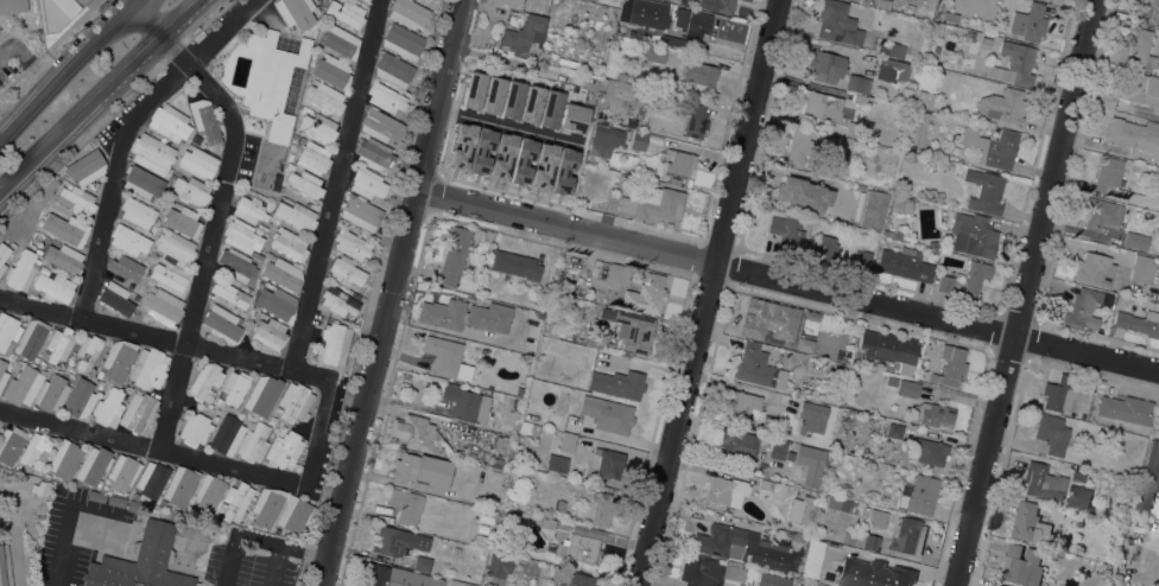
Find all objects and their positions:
building: (416, 0)
building: (997, 0)
road: (132, 1)
building: (634, 2)
building: (882, 4)
building: (12, 5)
building: (717, 5)
building: (910, 7)
building: (1148, 11)
building: (57, 12)
building: (296, 12)
building: (407, 12)
building: (344, 13)
building: (648, 15)
building: (696, 19)
building: (837, 23)
building: (1028, 23)
building: (525, 33)
building: (674, 38)
building: (338, 40)
building: (401, 40)
building: (1141, 47)
road: (6, 49)
building: (891, 49)
building: (654, 53)
building: (543, 56)
road: (517, 63)
building: (570, 63)
building: (1014, 64)
building: (826, 66)
building: (894, 68)
building: (1155, 68)
building: (392, 69)
road: (66, 70)
building: (331, 71)
building: (699, 72)
building: (273, 82)
building: (859, 83)
building: (1140, 88)
road: (97, 93)
building: (620, 95)
building: (324, 97)
building: (385, 97)
building: (511, 98)
building: (859, 98)
building: (923, 98)
building: (1002, 104)
road: (113, 106)
building: (822, 106)
building: (917, 116)
building: (572, 117)
building: (204, 120)
building: (696, 121)
building: (169, 122)
road: (499, 122)
building: (380, 126)
building: (318, 127)
building: (850, 128)
road: (123, 133)
building: (1134, 133)
building: (608, 136)
building: (638, 140)
building: (800, 146)
building: (995, 148)
building: (152, 154)
building: (373, 154)
building: (313, 158)
building: (547, 161)
building: (197, 163)
building: (678, 163)
building: (85, 166)
building: (1108, 173)
building: (899, 174)
building: (673, 180)
building: (142, 181)
building: (367, 183)
building: (305, 184)
road: (335, 185)
building: (857, 186)
building: (190, 191)
building: (984, 191)
building: (802, 195)
building: (75, 198)
building: (658, 202)
building: (900, 203)
building: (248, 209)
road: (218, 210)
building: (872, 210)
building: (137, 211)
building: (360, 212)
building: (1101, 212)
building: (294, 215)
building: (182, 222)
building: (66, 229)
building: (891, 233)
building: (786, 235)
building: (973, 235)
building: (241, 236)
building: (128, 240)
building: (1135, 241)
building: (932, 243)
building: (289, 244)
building: (350, 244)
building: (175, 246)
building: (825, 249)
building: (454, 254)
building: (2, 255)
building: (63, 257)
building: (862, 259)
building: (904, 263)
building: (235, 265)
building: (515, 265)
building: (44, 269)
building: (122, 269)
building: (1142, 269)
building: (21, 270)
building: (1094, 270)
building: (283, 272)
building: (344, 272)
building: (617, 275)
building: (170, 278)
building: (975, 278)
road: (785, 282)
building: (944, 284)
building: (53, 287)
building: (354, 292)
road: (370, 292)
building: (653, 292)
road: (707, 292)
road: (387, 293)
road: (1022, 293)
building: (228, 295)
building: (115, 298)
building: (337, 301)
building: (277, 302)
building: (163, 306)
building: (1084, 307)
road: (39, 308)
building: (464, 314)
building: (1139, 321)
building: (771, 323)
building: (809, 323)
building: (222, 324)
building: (6, 330)
building: (634, 331)
building: (270, 333)
building: (570, 335)
building: (31, 338)
building: (593, 343)
building: (59, 344)
building: (332, 344)
building: (803, 344)
road: (204, 349)
building: (824, 349)
building: (888, 349)
building: (87, 351)
building: (443, 355)
building: (118, 358)
building: (797, 361)
building: (756, 367)
building: (949, 367)
building: (147, 368)
building: (2, 374)
building: (633, 380)
building: (205, 382)
building: (23, 384)
building: (235, 387)
building: (911, 388)
building: (51, 393)
building: (261, 394)
building: (1058, 394)
building: (80, 397)
building: (594, 399)
building: (294, 401)
building: (465, 403)
building: (742, 403)
building: (108, 407)
building: (1125, 408)
building: (138, 412)
building: (931, 414)
building: (616, 415)
building: (812, 416)
building: (769, 423)
building: (582, 425)
building: (528, 428)
building: (195, 429)
building: (894, 431)
road: (317, 433)
building: (1052, 433)
building: (417, 434)
building: (226, 435)
building: (253, 442)
building: (566, 442)
building: (736, 442)
building: (11, 444)
building: (502, 444)
building: (774, 447)
road: (152, 448)
building: (284, 450)
building: (34, 451)
building: (930, 451)
building: (800, 453)
building: (64, 458)
building: (608, 461)
building: (495, 463)
building: (556, 463)
building: (93, 465)
building: (422, 470)
building: (813, 470)
building: (122, 472)
building: (1076, 473)
building: (1148, 476)
building: (151, 478)
building: (1040, 480)
building: (179, 485)
building: (726, 491)
building: (769, 491)
building: (208, 492)
building: (918, 495)
building: (96, 496)
building: (1078, 496)
building: (115, 501)
building: (235, 501)
building: (405, 504)
building: (558, 504)
building: (841, 504)
building: (132, 505)
building: (266, 505)
building: (601, 509)
building: (802, 509)
building: (1108, 510)
building: (294, 514)
building: (508, 514)
building: (872, 516)
building: (39, 517)
building: (247, 520)
building: (546, 522)
building: (1030, 523)
park: (21, 524)
building: (482, 528)
building: (822, 534)
building: (799, 535)
building: (910, 535)
road: (253, 536)
building: (398, 541)
building: (867, 541)
building: (578, 547)
building: (747, 547)
road: (18, 556)
building: (812, 558)
building: (140, 561)
building: (422, 563)
building: (498, 563)
building: (1021, 565)
building: (5, 566)
building: (702, 571)
building: (874, 573)
building: (398, 577)
building: (575, 579)
building: (772, 580)
building: (460, 582)
building: (797, 585)
building: (800, 585)
building: (1000, 585)

